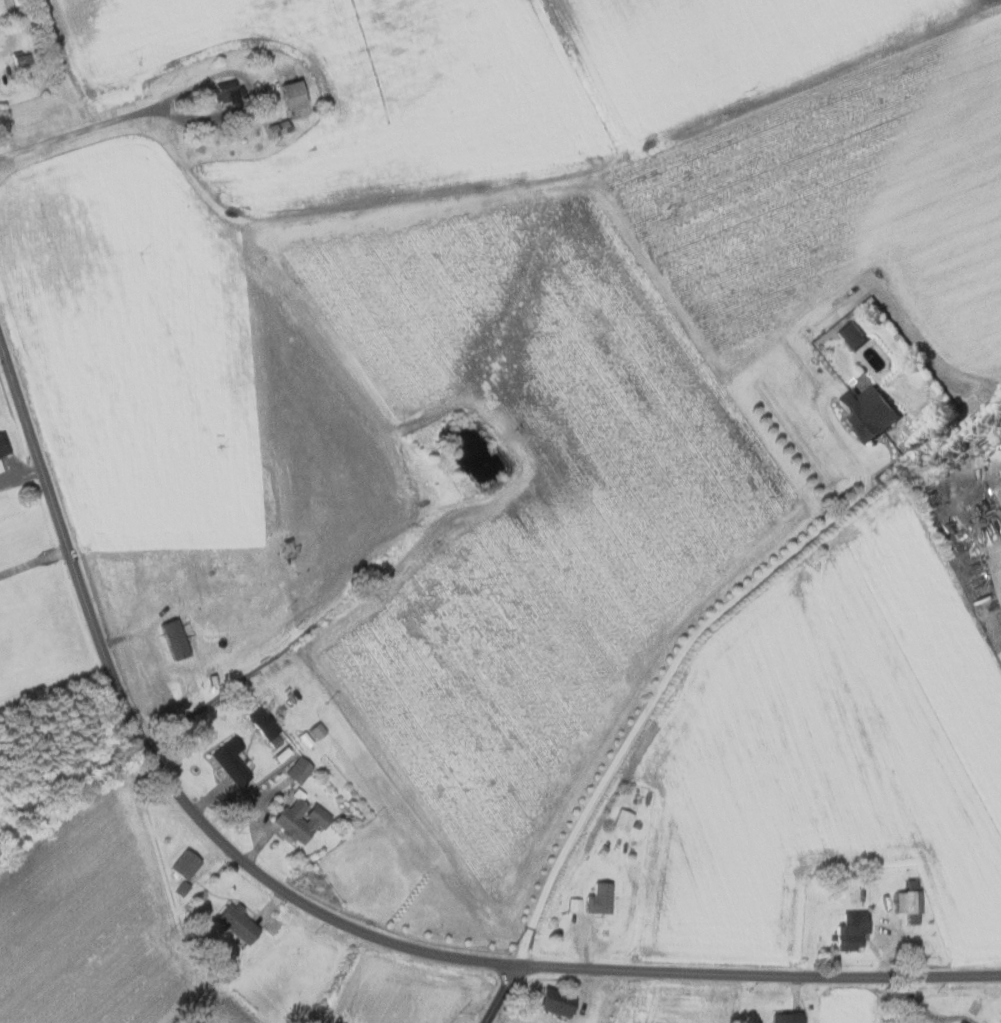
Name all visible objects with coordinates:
road: (251, 86)
building: (292, 99)
building: (276, 128)
road: (74, 132)
building: (851, 334)
building: (866, 411)
building: (1000, 479)
road: (33, 561)
road: (654, 699)
building: (264, 726)
building: (229, 760)
building: (297, 770)
building: (298, 817)
building: (622, 819)
building: (183, 864)
building: (598, 898)
building: (908, 901)
building: (574, 904)
road: (326, 918)
building: (236, 922)
building: (851, 929)
road: (499, 998)
building: (555, 1002)
road: (931, 1014)
building: (785, 1017)
building: (915, 1021)
building: (960, 1022)

